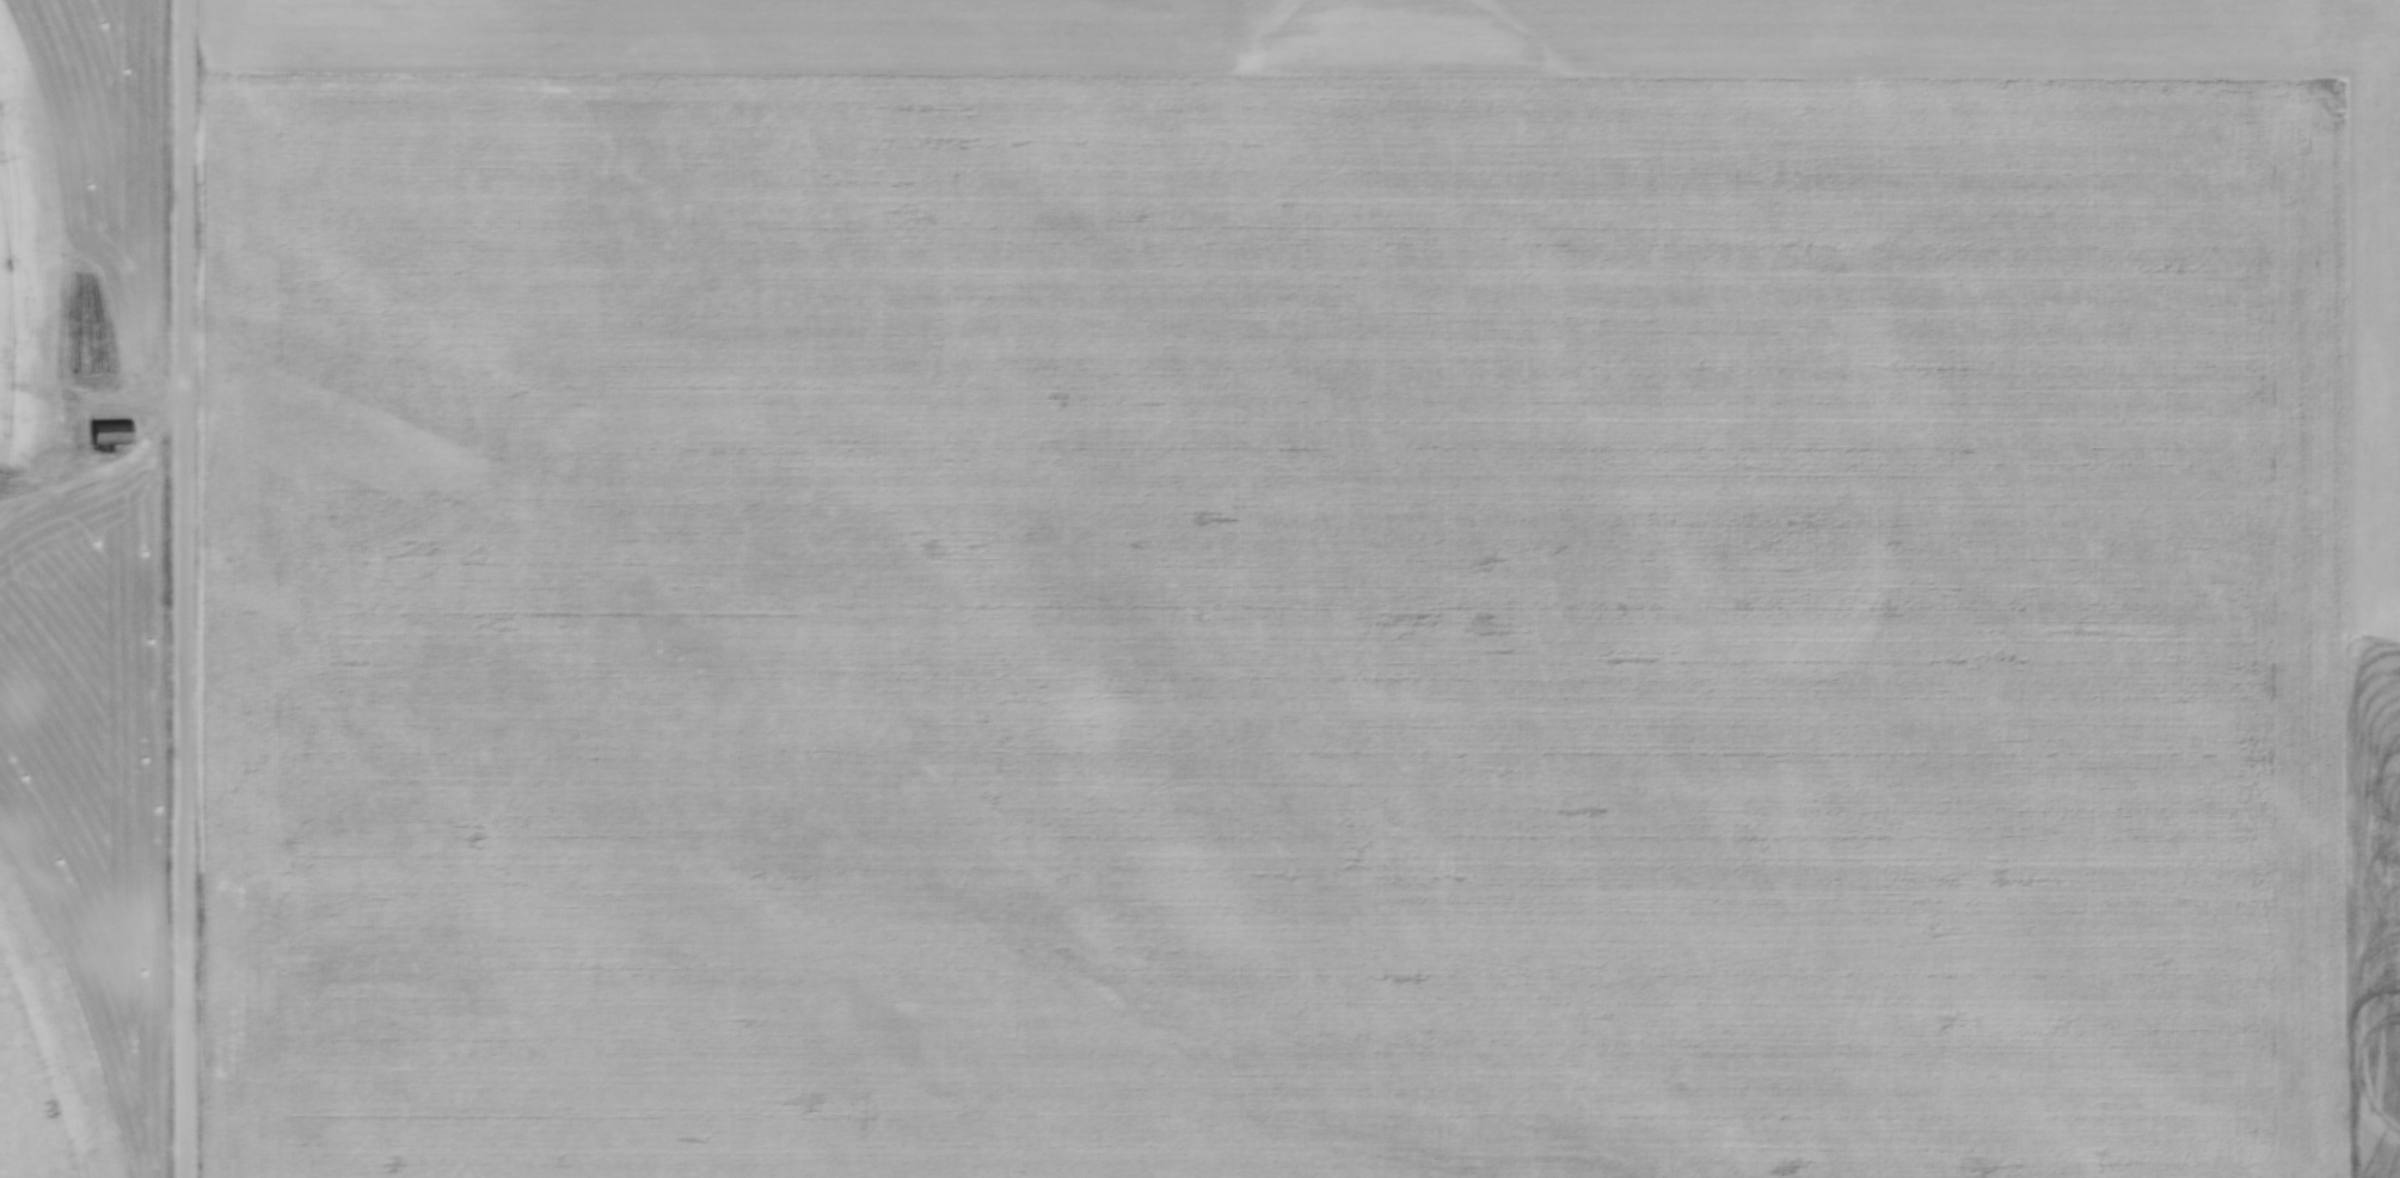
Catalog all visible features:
crop: (82, 177)
building: (106, 434)
crop: (1311, 446)
road: (100, 467)
road: (182, 588)
crop: (82, 836)

